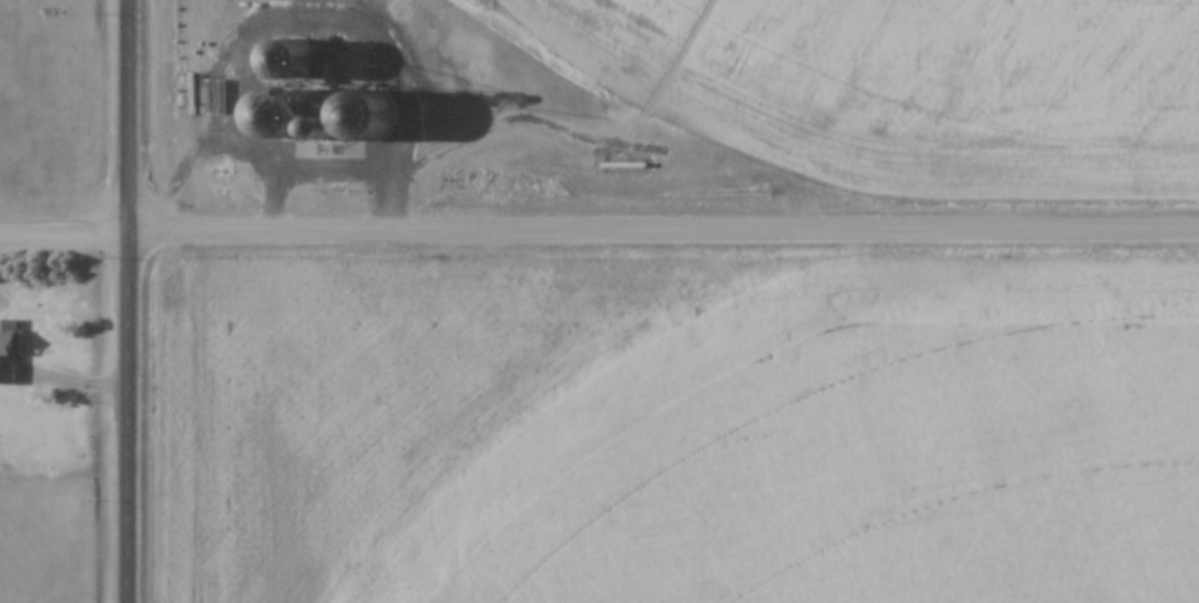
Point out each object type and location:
road: (66, 224)
road: (666, 224)
road: (131, 301)
building: (12, 351)

